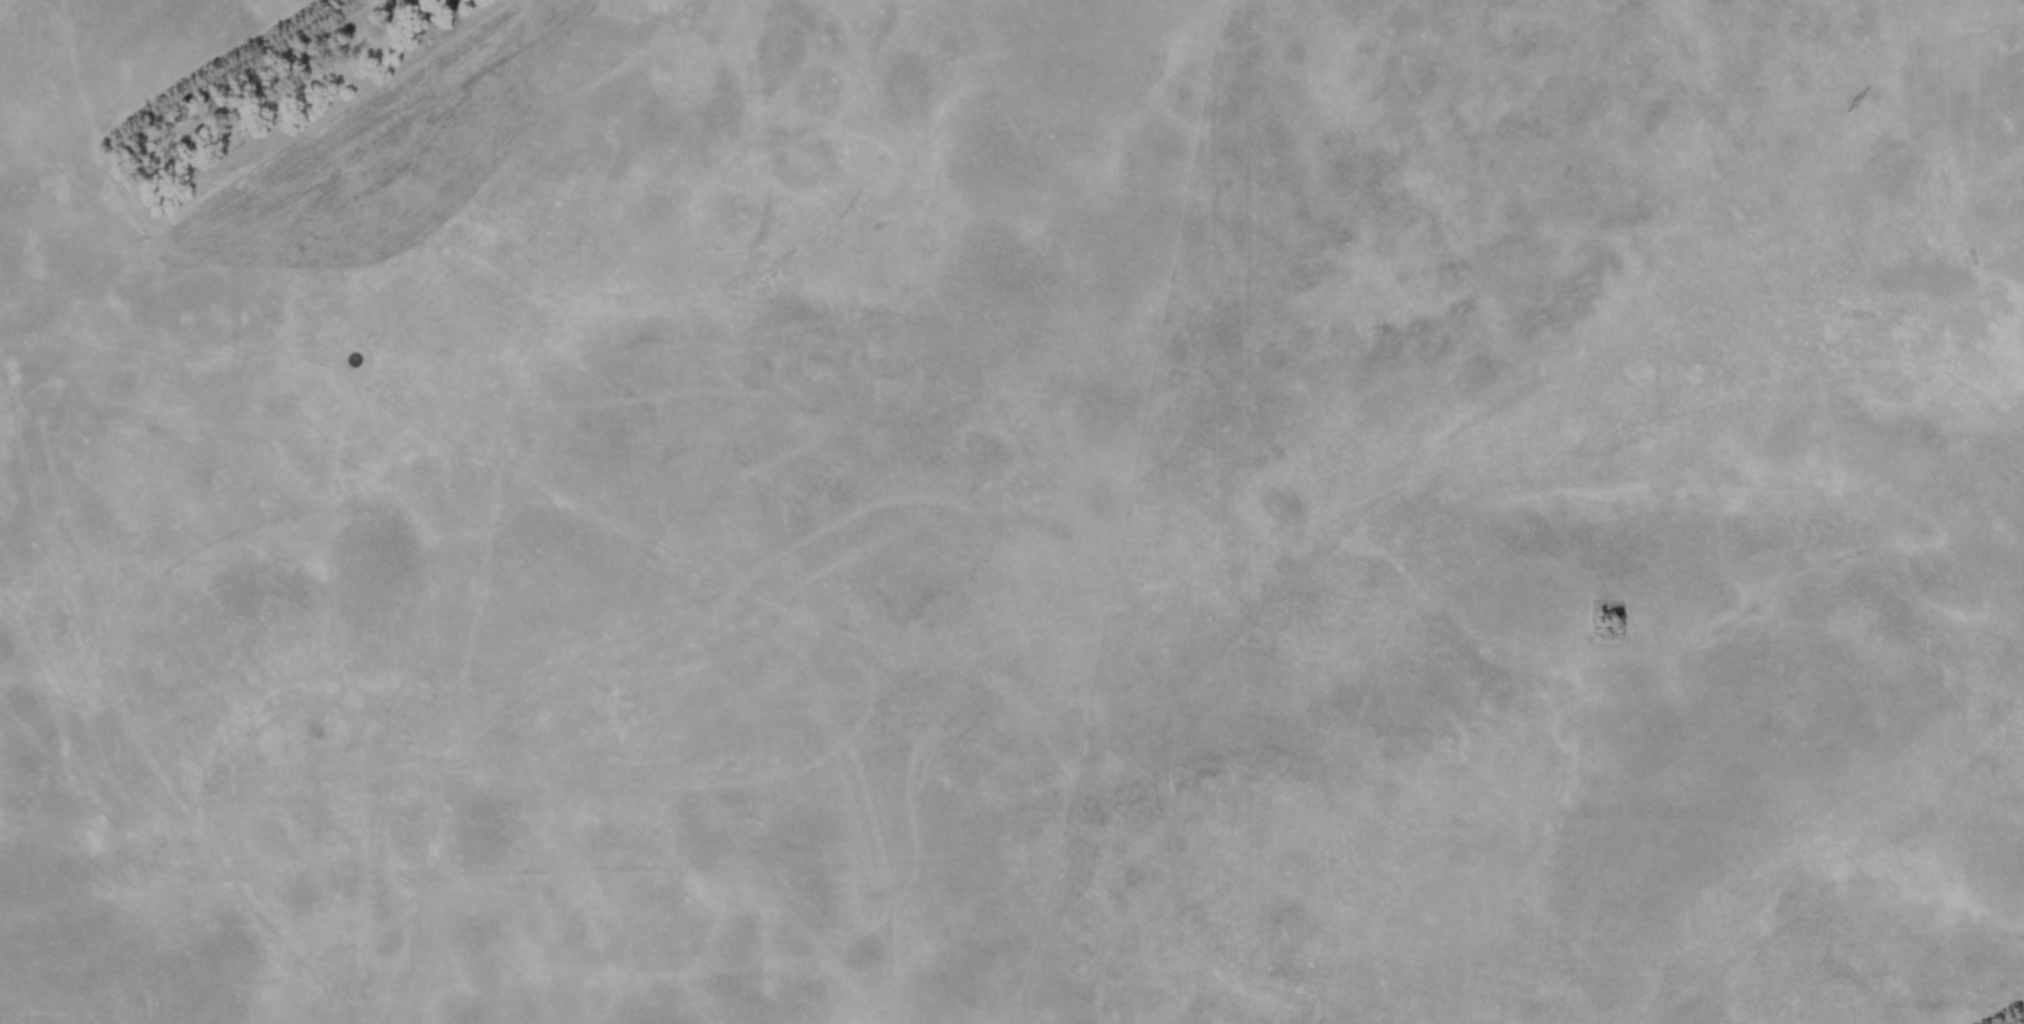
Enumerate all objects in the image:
power tower: (1856, 107)

